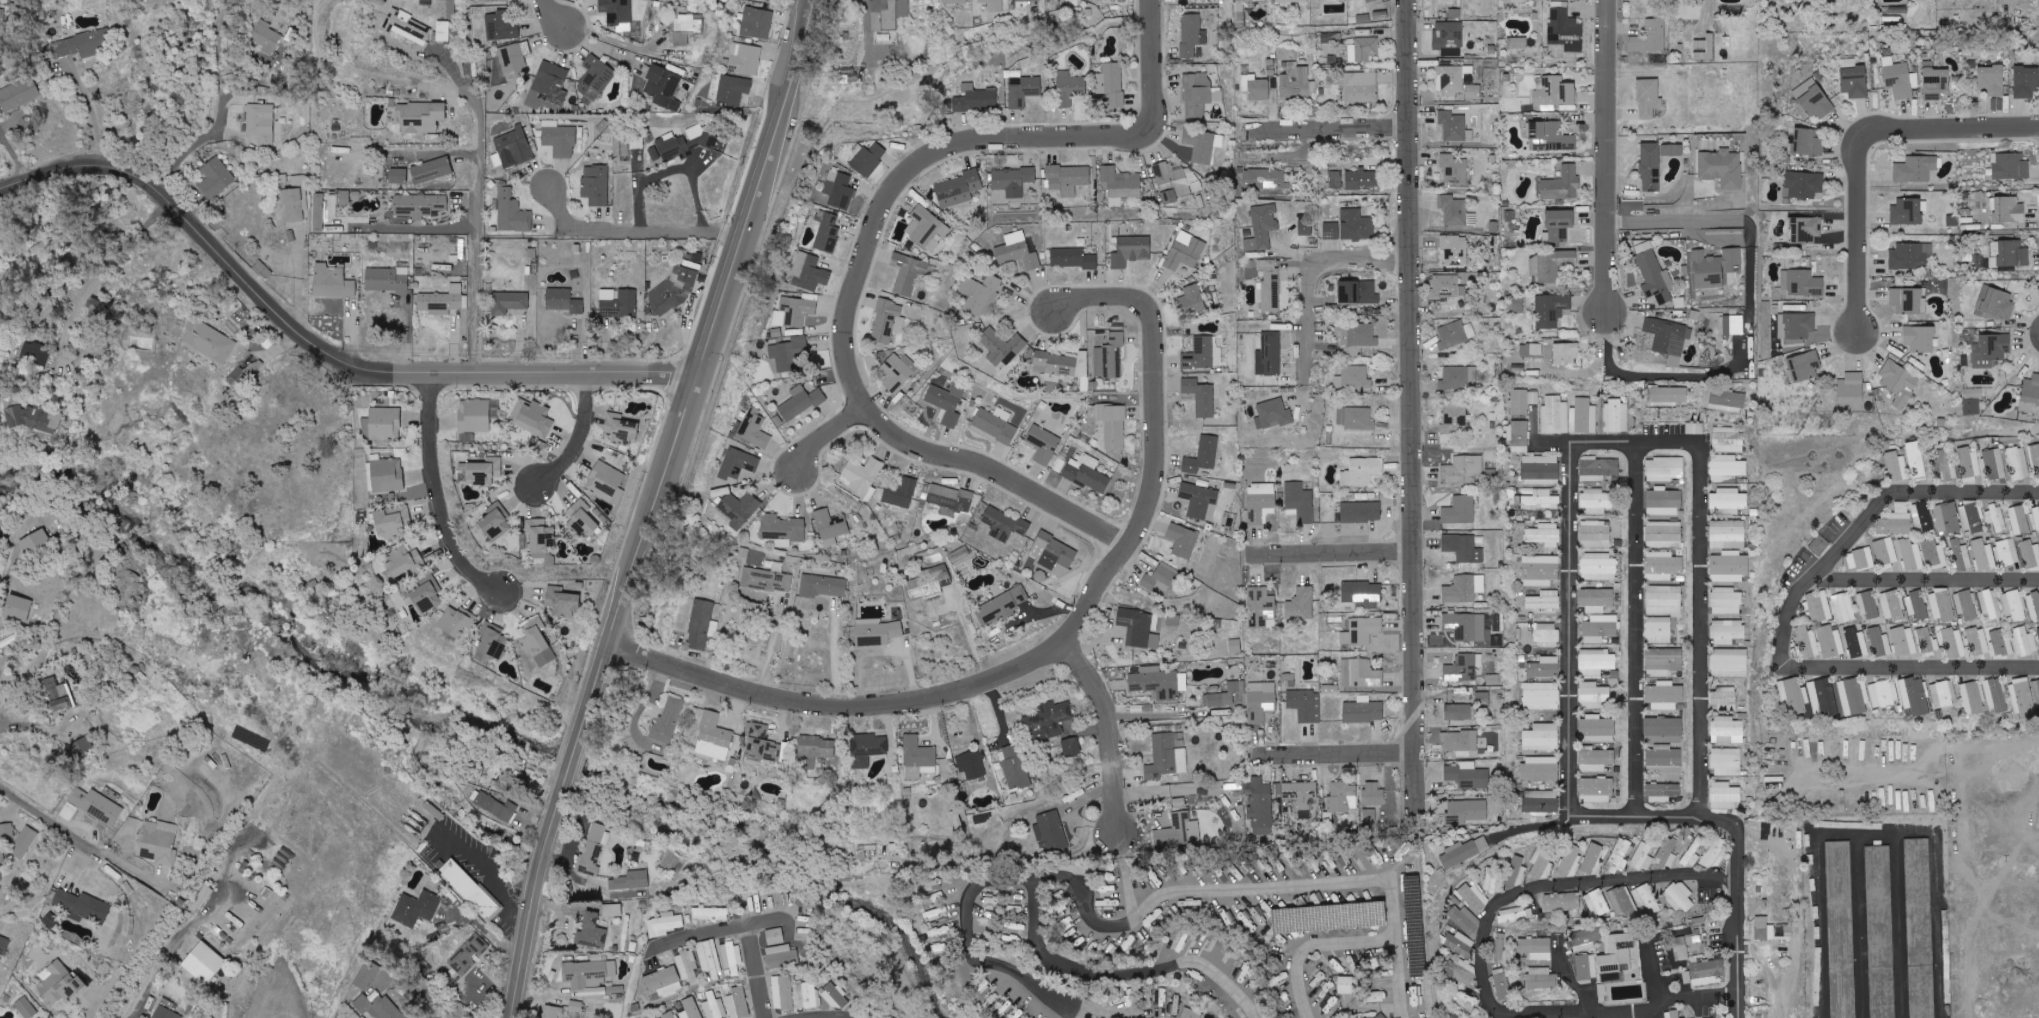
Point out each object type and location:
building: (1027, 0)
building: (1356, 0)
building: (955, 1)
building: (1251, 1)
building: (1291, 1)
building: (1073, 3)
road: (816, 4)
building: (993, 5)
building: (1443, 8)
building: (1239, 15)
building: (621, 16)
building: (887, 19)
road: (550, 20)
building: (756, 23)
building: (406, 26)
building: (501, 26)
building: (686, 27)
road: (867, 28)
building: (1565, 28)
building: (442, 31)
building: (1191, 34)
building: (1448, 35)
building: (266, 37)
building: (1650, 37)
building: (1331, 38)
building: (1517, 42)
building: (84, 43)
road: (598, 45)
building: (1704, 48)
building: (1363, 49)
building: (516, 57)
building: (745, 59)
road: (1157, 63)
building: (596, 77)
building: (1898, 78)
building: (1452, 79)
building: (1853, 79)
building: (1991, 80)
building: (1935, 82)
building: (2026, 82)
building: (1113, 83)
building: (1296, 84)
building: (548, 87)
building: (1255, 87)
building: (1361, 87)
building: (663, 88)
building: (1069, 88)
building: (1021, 89)
building: (733, 90)
building: (1473, 91)
building: (1555, 92)
building: (19, 94)
building: (1197, 94)
building: (1648, 98)
building: (966, 99)
building: (1813, 99)
road: (222, 108)
road: (90, 113)
building: (420, 117)
building: (261, 124)
building: (1454, 127)
road: (1328, 130)
road: (1952, 130)
building: (1550, 137)
building: (559, 139)
building: (637, 142)
building: (1809, 143)
building: (1203, 145)
building: (683, 146)
building: (511, 149)
building: (1672, 150)
road: (14, 153)
building: (655, 154)
road: (1608, 155)
building: (869, 160)
building: (2010, 166)
building: (1650, 167)
building: (1721, 168)
building: (1457, 169)
building: (1915, 169)
building: (431, 170)
road: (668, 172)
road: (910, 175)
building: (398, 176)
building: (217, 178)
building: (1068, 178)
building: (1365, 178)
building: (1267, 179)
building: (1336, 180)
building: (1012, 181)
building: (1562, 184)
building: (1803, 184)
building: (596, 185)
building: (958, 189)
building: (840, 190)
building: (344, 199)
building: (294, 205)
building: (418, 205)
building: (2007, 210)
building: (1456, 211)
building: (1907, 212)
building: (512, 213)
road: (421, 223)
building: (1560, 225)
building: (1350, 226)
building: (1261, 227)
road: (635, 228)
building: (926, 228)
building: (1305, 228)
building: (1806, 229)
building: (828, 233)
road: (479, 234)
road: (1862, 235)
building: (1022, 250)
building: (1454, 250)
building: (1131, 251)
building: (1185, 251)
building: (2009, 254)
building: (1911, 256)
building: (1073, 258)
building: (1553, 265)
road: (103, 268)
building: (1717, 268)
road: (1304, 270)
building: (808, 272)
building: (910, 273)
building: (1655, 276)
building: (387, 279)
building: (1802, 283)
building: (1269, 285)
building: (1447, 287)
building: (675, 289)
building: (1358, 292)
building: (980, 294)
building: (1192, 300)
building: (1907, 300)
building: (442, 301)
building: (564, 301)
building: (508, 303)
building: (618, 303)
building: (1996, 303)
building: (1518, 305)
building: (1551, 310)
building: (794, 312)
building: (888, 321)
road: (1749, 321)
building: (1733, 325)
building: (1797, 325)
building: (1456, 334)
building: (1357, 337)
building: (1920, 338)
building: (1669, 339)
building: (210, 342)
building: (1001, 347)
building: (1991, 349)
building: (1536, 350)
building: (790, 353)
building: (1566, 353)
building: (35, 354)
building: (1203, 354)
road: (309, 357)
building: (1110, 357)
building: (1061, 366)
building: (1807, 366)
building: (899, 372)
building: (1353, 378)
building: (1459, 378)
building: (1899, 383)
building: (1851, 393)
building: (1973, 393)
building: (2030, 394)
building: (1668, 396)
building: (1200, 397)
building: (1727, 400)
building: (1523, 401)
building: (801, 402)
building: (947, 402)
building: (1972, 407)
road: (1413, 409)
building: (1273, 415)
building: (474, 416)
building: (1555, 416)
building: (1583, 416)
building: (1615, 416)
building: (532, 418)
building: (36, 419)
building: (1359, 419)
building: (1455, 420)
building: (385, 422)
building: (995, 425)
building: (1113, 426)
building: (621, 428)
building: (754, 429)
road: (828, 434)
building: (1519, 436)
road: (581, 438)
building: (1728, 440)
building: (1043, 445)
building: (1203, 456)
building: (2035, 459)
building: (1916, 460)
building: (2018, 463)
building: (738, 464)
building: (1970, 464)
building: (1994, 464)
building: (1896, 465)
building: (1727, 468)
building: (1598, 469)
building: (1664, 469)
building: (1463, 470)
building: (1541, 470)
building: (1948, 470)
building: (483, 472)
building: (1361, 472)
road: (1001, 473)
building: (1087, 473)
building: (387, 475)
building: (863, 475)
building: (605, 481)
building: (901, 493)
road: (439, 497)
building: (1542, 499)
building: (950, 500)
building: (1200, 501)
building: (1595, 501)
building: (1729, 501)
building: (1300, 502)
building: (1261, 503)
building: (735, 506)
road: (659, 508)
building: (1460, 511)
building: (1361, 512)
building: (1923, 517)
building: (1971, 517)
building: (1997, 517)
building: (1947, 518)
building: (584, 519)
building: (2037, 519)
building: (1896, 520)
building: (2019, 520)
building: (392, 522)
building: (495, 523)
building: (1004, 524)
building: (830, 526)
building: (783, 530)
building: (1595, 534)
building: (1727, 534)
building: (1544, 535)
building: (1663, 535)
building: (541, 541)
building: (1183, 541)
building: (36, 542)
building: (1819, 545)
building: (1463, 548)
road: (1707, 549)
building: (1886, 552)
building: (2008, 553)
building: (2030, 553)
building: (1053, 554)
road: (1335, 554)
building: (1934, 554)
building: (1911, 555)
building: (1984, 555)
building: (1959, 556)
building: (1860, 559)
building: (405, 562)
building: (1663, 566)
building: (1598, 567)
building: (1729, 567)
building: (1540, 570)
building: (767, 579)
building: (1162, 579)
building: (928, 583)
building: (824, 586)
road: (9, 587)
road: (1924, 588)
building: (1463, 589)
building: (427, 594)
building: (1362, 595)
building: (1596, 600)
building: (1664, 600)
building: (1544, 601)
building: (1726, 601)
building: (562, 602)
building: (1301, 604)
building: (1003, 605)
building: (1868, 605)
building: (1892, 605)
building: (1941, 605)
building: (1966, 605)
building: (1990, 605)
building: (2014, 605)
building: (1917, 606)
building: (2033, 606)
building: (19, 607)
building: (1819, 607)
building: (1260, 608)
building: (1843, 608)
road: (1796, 613)
building: (457, 621)
building: (700, 625)
building: (1465, 626)
building: (1140, 628)
building: (1600, 629)
building: (1658, 630)
building: (1362, 631)
road: (1642, 631)
building: (2038, 631)
building: (877, 632)
building: (1727, 632)
building: (1546, 635)
road: (970, 636)
building: (1820, 641)
building: (1977, 641)
building: (493, 642)
building: (537, 642)
building: (1880, 642)
building: (1928, 642)
building: (1954, 642)
building: (2001, 642)
building: (2024, 642)
building: (1856, 643)
road: (1060, 645)
road: (770, 649)
road: (836, 659)
building: (1596, 662)
building: (1663, 662)
building: (1729, 663)
building: (1455, 664)
building: (1545, 668)
building: (1362, 673)
building: (1156, 683)
building: (2036, 691)
building: (56, 694)
building: (1884, 694)
building: (1225, 695)
building: (1943, 695)
building: (1541, 696)
building: (1593, 696)
building: (1664, 696)
building: (1793, 696)
building: (1854, 696)
building: (1915, 696)
building: (1995, 696)
building: (1823, 697)
building: (1482, 698)
building: (1724, 698)
building: (1973, 698)
building: (2023, 699)
building: (1261, 701)
building: (1305, 705)
building: (1363, 711)
building: (1459, 712)
building: (1048, 719)
building: (668, 721)
building: (1596, 729)
building: (1663, 730)
building: (1727, 731)
road: (1110, 737)
building: (1542, 737)
building: (713, 738)
building: (1460, 742)
building: (762, 745)
building: (81, 746)
building: (1071, 747)
building: (817, 748)
building: (867, 749)
road: (1333, 755)
building: (1167, 756)
building: (918, 758)
building: (1595, 759)
building: (1726, 762)
building: (971, 765)
building: (1015, 767)
building: (1540, 769)
building: (1468, 776)
building: (1596, 790)
building: (1662, 792)
building: (1373, 794)
building: (1724, 796)
building: (1342, 797)
building: (1301, 798)
building: (1541, 802)
road: (1577, 804)
building: (95, 806)
building: (495, 807)
building: (1261, 807)
building: (1466, 812)
building: (1369, 815)
building: (6, 831)
building: (1051, 832)
building: (1178, 832)
road: (1879, 832)
road: (77, 837)
building: (25, 841)
building: (159, 843)
building: (595, 848)
building: (1463, 852)
road: (1122, 853)
building: (1668, 853)
building: (1693, 853)
building: (1714, 854)
building: (2, 855)
building: (1619, 856)
building: (1643, 857)
building: (1571, 860)
building: (1593, 860)
road: (490, 864)
building: (1542, 865)
building: (0, 876)
building: (1505, 876)
building: (630, 881)
road: (1129, 888)
building: (469, 889)
road: (1555, 891)
building: (1472, 897)
building: (1679, 897)
building: (1646, 899)
building: (1562, 902)
building: (1622, 902)
building: (1597, 903)
building: (82, 907)
building: (416, 908)
building: (612, 910)
building: (935, 913)
building: (710, 914)
building: (1516, 914)
building: (1329, 918)
road: (1121, 922)
building: (1468, 923)
building: (665, 924)
building: (1841, 928)
building: (1920, 928)
building: (1763, 930)
building: (591, 931)
building: (1880, 931)
building: (939, 932)
building: (1785, 932)
road: (727, 933)
building: (775, 936)
road: (1312, 940)
building: (478, 944)
building: (4, 945)
building: (1461, 945)
building: (1499, 945)
building: (1581, 946)
road: (441, 947)
building: (1536, 948)
building: (1617, 954)
building: (731, 957)
building: (781, 957)
building: (710, 959)
road: (1058, 959)
building: (462, 961)
building: (204, 963)
road: (1173, 964)
building: (689, 967)
building: (1586, 968)
road: (760, 973)
building: (1706, 973)
building: (1463, 974)
building: (366, 976)
building: (589, 976)
building: (1612, 977)
road: (1790, 978)
building: (1540, 979)
building: (663, 982)
building: (59, 984)
building: (1347, 985)
building: (1502, 987)
building: (783, 993)
building: (808, 995)
road: (435, 996)
building: (836, 997)
building: (1374, 997)
road: (101, 1001)
building: (738, 1003)
building: (377, 1006)
building: (714, 1007)
building: (1176, 1007)
building: (26, 1008)
building: (690, 1008)
road: (1678, 1010)
road: (1079, 1011)
building: (552, 1012)
road: (133, 1013)
building: (166, 1013)
road: (1608, 1013)
building: (1191, 1014)
building: (1675, 1014)
building: (670, 1015)
road: (1467, 1015)
road: (1560, 1015)
building: (1381, 1016)
road: (1522, 1016)

